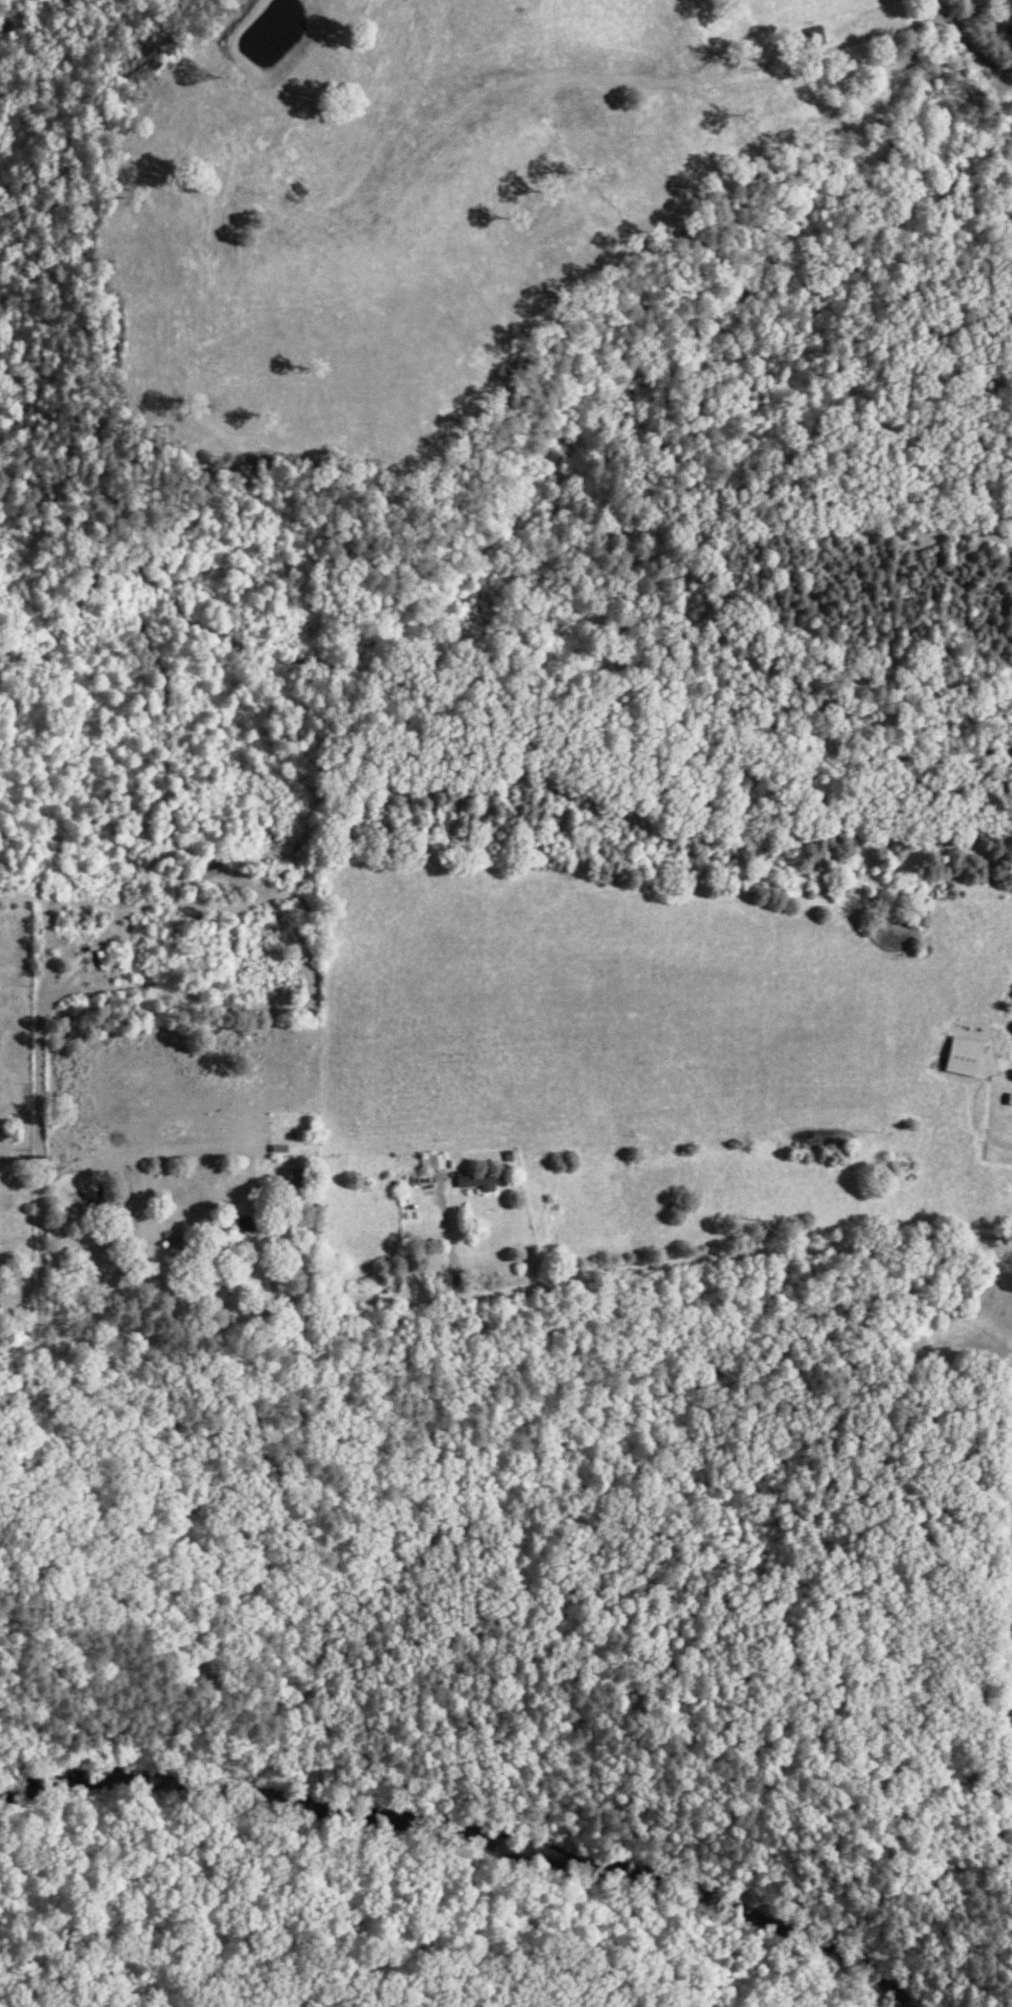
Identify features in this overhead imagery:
road: (973, 44)
building: (976, 1056)
road: (1000, 1087)
road: (450, 1239)
road: (271, 1249)
road: (504, 1292)

